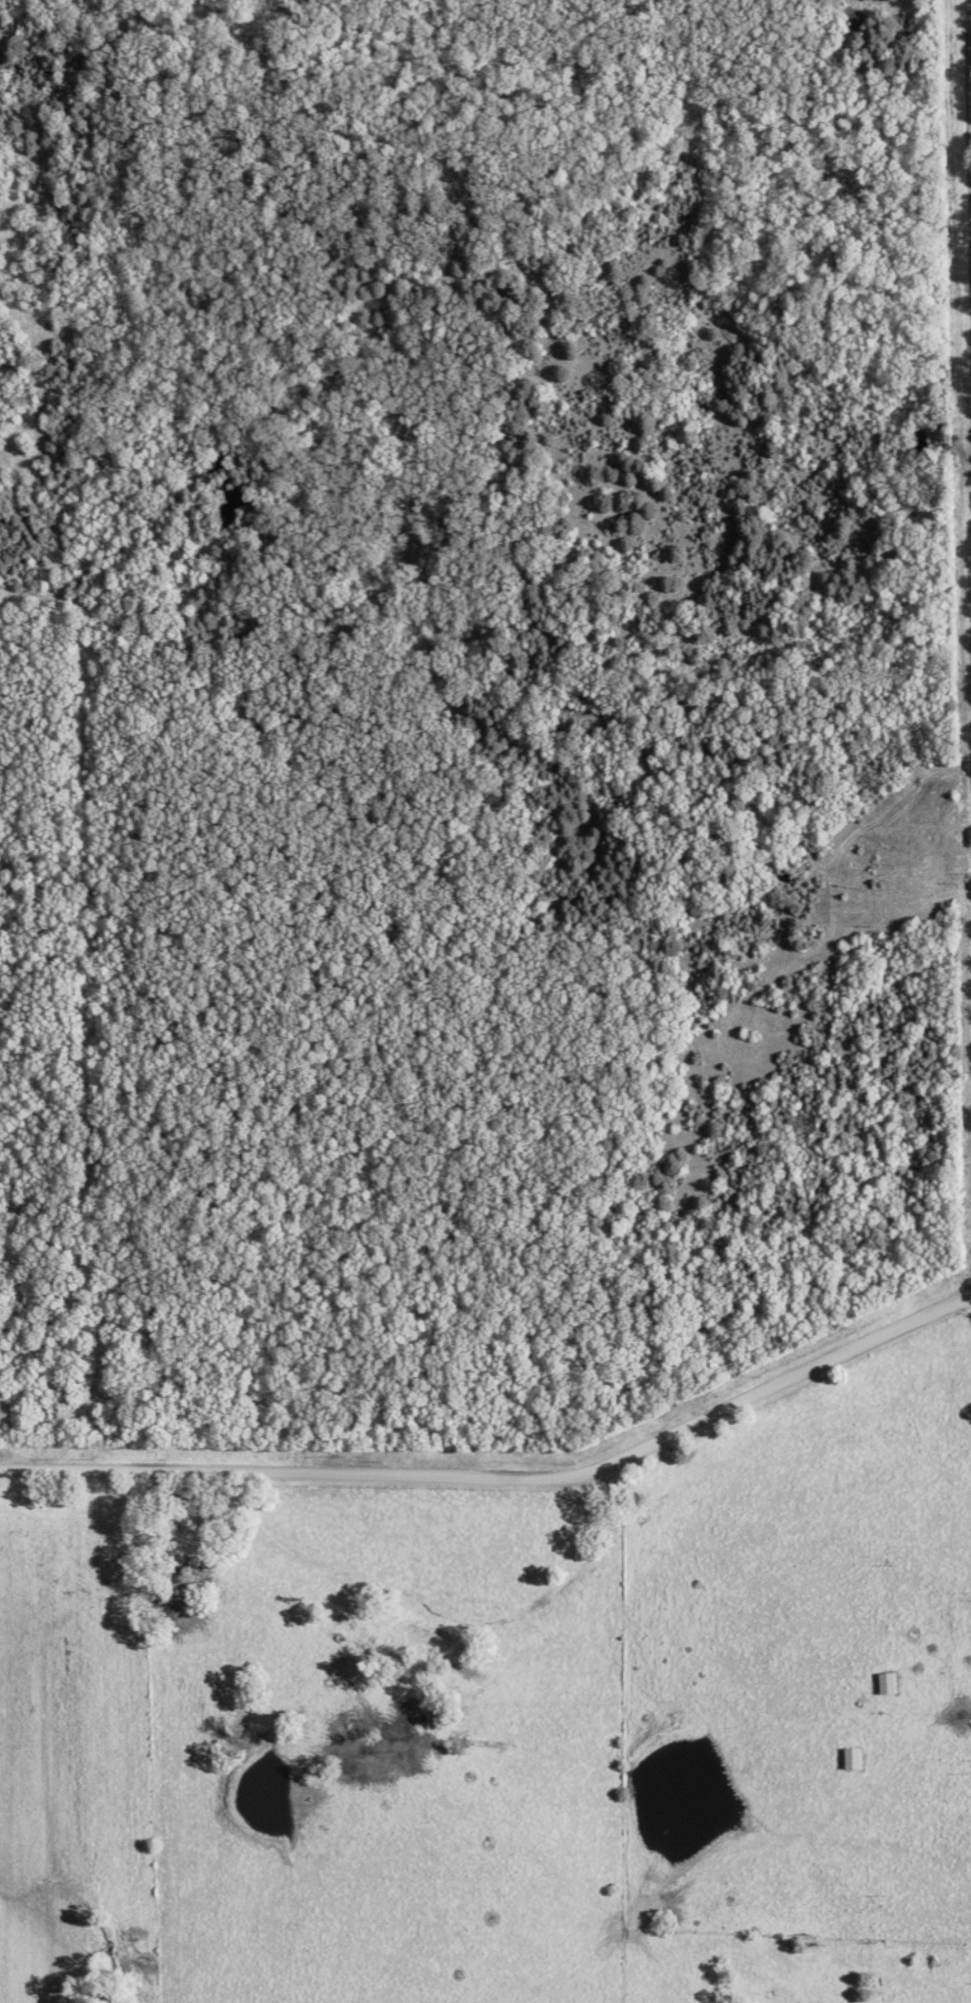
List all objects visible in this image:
road: (969, 91)
road: (506, 1475)
road: (933, 1700)

